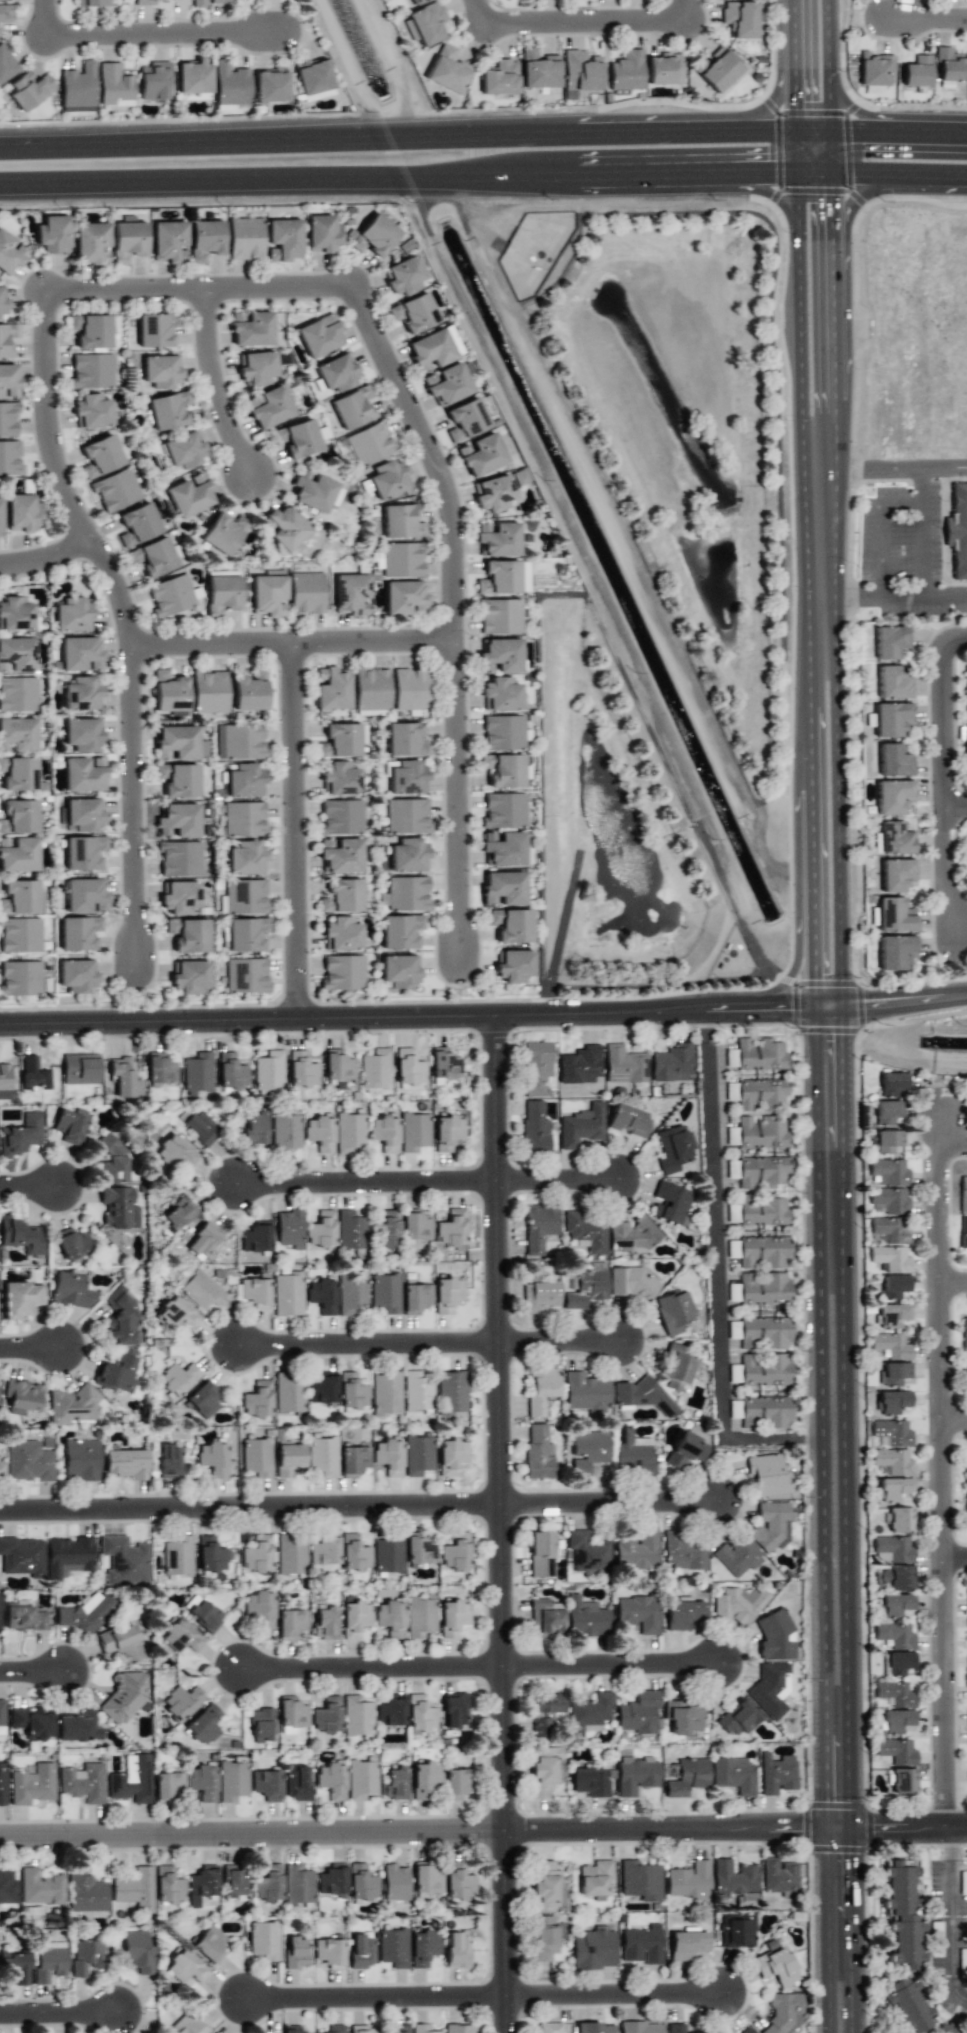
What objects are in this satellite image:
building: (221, 1)
building: (415, 1)
building: (144, 2)
building: (91, 3)
building: (198, 4)
road: (691, 8)
road: (488, 10)
building: (5, 14)
road: (929, 17)
road: (48, 19)
road: (592, 19)
building: (739, 19)
building: (424, 24)
road: (167, 36)
building: (6, 64)
building: (948, 65)
road: (827, 68)
building: (663, 69)
building: (715, 69)
building: (875, 69)
building: (446, 70)
building: (538, 70)
building: (626, 71)
building: (916, 72)
building: (579, 73)
building: (313, 76)
building: (193, 77)
building: (499, 78)
building: (153, 81)
road: (799, 82)
building: (113, 84)
building: (230, 84)
building: (30, 89)
building: (78, 89)
road: (767, 104)
road: (868, 116)
road: (803, 136)
road: (898, 137)
road: (388, 143)
road: (878, 167)
road: (394, 170)
road: (760, 190)
road: (862, 193)
building: (52, 234)
building: (321, 234)
building: (374, 235)
building: (245, 239)
building: (283, 239)
building: (205, 240)
building: (127, 241)
building: (168, 242)
building: (90, 243)
building: (10, 252)
building: (403, 276)
road: (196, 292)
building: (2, 302)
building: (413, 313)
building: (250, 329)
building: (155, 330)
building: (90, 331)
building: (319, 335)
building: (7, 338)
building: (429, 350)
building: (255, 367)
building: (91, 371)
building: (160, 371)
building: (336, 372)
building: (8, 380)
road: (213, 388)
building: (268, 407)
building: (351, 407)
building: (167, 410)
building: (91, 411)
building: (8, 418)
building: (463, 420)
building: (297, 438)
building: (368, 443)
building: (183, 450)
building: (478, 455)
building: (99, 457)
road: (429, 458)
building: (10, 459)
road: (945, 466)
road: (863, 472)
building: (517, 476)
road: (57, 478)
building: (386, 479)
building: (114, 490)
building: (311, 492)
building: (490, 493)
building: (188, 495)
building: (21, 513)
building: (0, 514)
building: (399, 522)
building: (137, 525)
building: (283, 527)
road: (878, 529)
building: (957, 530)
building: (223, 532)
road: (923, 554)
building: (152, 557)
building: (400, 559)
road: (45, 560)
building: (520, 576)
building: (496, 578)
road: (830, 584)
road: (805, 587)
building: (305, 592)
building: (221, 594)
building: (350, 594)
building: (170, 595)
building: (268, 595)
building: (400, 596)
road: (864, 600)
building: (15, 614)
building: (72, 615)
building: (497, 616)
building: (890, 641)
road: (953, 641)
road: (289, 646)
building: (16, 654)
building: (80, 654)
building: (497, 656)
building: (258, 674)
building: (892, 683)
building: (965, 687)
building: (330, 689)
building: (369, 689)
building: (408, 689)
building: (209, 691)
building: (81, 693)
building: (169, 693)
building: (247, 693)
building: (17, 694)
building: (497, 694)
building: (891, 719)
road: (940, 726)
building: (966, 728)
building: (500, 732)
building: (17, 734)
building: (82, 735)
building: (403, 740)
building: (238, 741)
building: (338, 741)
building: (178, 743)
building: (966, 751)
building: (893, 761)
building: (500, 770)
building: (18, 774)
building: (83, 774)
building: (338, 778)
building: (404, 778)
building: (177, 780)
building: (243, 781)
building: (892, 796)
road: (453, 805)
road: (954, 809)
road: (131, 810)
building: (500, 810)
building: (83, 815)
building: (404, 816)
building: (18, 817)
building: (339, 817)
building: (243, 819)
building: (177, 821)
road: (293, 834)
building: (893, 839)
building: (499, 849)
building: (82, 852)
building: (18, 854)
building: (339, 855)
building: (405, 856)
building: (179, 858)
building: (244, 858)
building: (896, 874)
road: (943, 878)
building: (500, 888)
building: (404, 894)
building: (84, 896)
building: (340, 896)
building: (20, 897)
building: (178, 897)
building: (244, 897)
building: (894, 915)
building: (508, 925)
building: (398, 931)
building: (78, 932)
building: (245, 933)
building: (340, 934)
building: (20, 935)
building: (188, 935)
building: (895, 952)
building: (511, 965)
building: (397, 971)
building: (341, 972)
building: (76, 975)
building: (189, 976)
building: (245, 976)
building: (20, 978)
road: (786, 981)
road: (483, 1019)
road: (821, 1019)
building: (758, 1055)
building: (443, 1064)
building: (671, 1064)
building: (337, 1065)
building: (579, 1065)
building: (624, 1065)
building: (407, 1067)
building: (160, 1068)
building: (536, 1068)
building: (80, 1069)
building: (301, 1069)
building: (375, 1069)
building: (230, 1071)
building: (268, 1071)
building: (197, 1073)
building: (33, 1074)
building: (123, 1079)
building: (4, 1082)
building: (892, 1084)
building: (760, 1094)
building: (887, 1112)
building: (628, 1121)
building: (70, 1125)
building: (580, 1126)
building: (200, 1127)
building: (255, 1127)
building: (534, 1128)
building: (349, 1132)
building: (413, 1132)
building: (446, 1132)
building: (285, 1133)
building: (319, 1133)
building: (384, 1133)
building: (757, 1133)
building: (20, 1135)
building: (888, 1142)
building: (673, 1148)
building: (175, 1152)
road: (952, 1155)
building: (112, 1162)
building: (756, 1171)
building: (888, 1172)
road: (427, 1182)
road: (30, 1189)
building: (963, 1194)
building: (889, 1200)
building: (670, 1203)
building: (761, 1211)
building: (178, 1213)
building: (117, 1215)
building: (415, 1227)
building: (538, 1227)
building: (289, 1229)
building: (387, 1229)
building: (891, 1229)
building: (321, 1230)
building: (349, 1230)
building: (451, 1230)
building: (585, 1232)
building: (963, 1233)
building: (631, 1234)
building: (20, 1235)
building: (203, 1239)
building: (255, 1239)
building: (72, 1243)
building: (732, 1249)
building: (762, 1252)
building: (889, 1259)
building: (632, 1283)
road: (715, 1283)
building: (893, 1286)
building: (763, 1288)
building: (586, 1289)
building: (69, 1290)
building: (200, 1290)
road: (953, 1291)
building: (254, 1292)
building: (385, 1293)
building: (288, 1294)
building: (446, 1294)
building: (321, 1295)
building: (352, 1295)
building: (539, 1296)
building: (20, 1298)
building: (415, 1298)
building: (673, 1312)
building: (177, 1313)
building: (892, 1315)
building: (120, 1320)
building: (733, 1330)
building: (964, 1332)
building: (763, 1333)
building: (890, 1346)
road: (428, 1347)
road: (33, 1349)
building: (675, 1368)
building: (764, 1370)
building: (964, 1371)
building: (893, 1373)
building: (177, 1380)
building: (322, 1388)
building: (541, 1389)
building: (351, 1391)
building: (417, 1391)
building: (289, 1393)
building: (385, 1393)
building: (585, 1393)
building: (451, 1394)
building: (642, 1396)
building: (22, 1397)
building: (202, 1400)
building: (256, 1400)
building: (891, 1401)
building: (76, 1405)
building: (760, 1412)
road: (953, 1426)
building: (892, 1432)
building: (587, 1451)
building: (632, 1451)
building: (684, 1451)
building: (538, 1453)
building: (418, 1455)
building: (323, 1456)
building: (388, 1456)
building: (450, 1456)
building: (256, 1457)
building: (212, 1459)
building: (288, 1459)
building: (353, 1459)
building: (81, 1460)
building: (169, 1460)
building: (28, 1461)
building: (892, 1462)
building: (125, 1463)
building: (965, 1469)
building: (1, 1471)
road: (940, 1472)
building: (767, 1475)
building: (894, 1488)
road: (605, 1494)
road: (248, 1504)
building: (964, 1508)
building: (899, 1520)
building: (771, 1525)
road: (497, 1526)
road: (839, 1530)
building: (894, 1548)
building: (419, 1551)
building: (637, 1551)
building: (684, 1551)
building: (324, 1552)
building: (455, 1552)
building: (353, 1553)
building: (588, 1553)
building: (257, 1554)
building: (290, 1554)
building: (387, 1554)
building: (540, 1554)
building: (210, 1555)
building: (22, 1556)
building: (177, 1556)
building: (737, 1556)
building: (68, 1557)
road: (954, 1560)
building: (124, 1561)
building: (896, 1578)
building: (966, 1595)
building: (895, 1604)
building: (734, 1606)
building: (259, 1609)
building: (202, 1613)
building: (638, 1613)
building: (682, 1613)
building: (85, 1614)
building: (545, 1616)
building: (420, 1617)
building: (452, 1617)
building: (24, 1618)
building: (390, 1618)
building: (586, 1618)
building: (354, 1619)
building: (324, 1622)
building: (966, 1622)
building: (290, 1624)
building: (894, 1635)
building: (181, 1636)
building: (774, 1636)
building: (121, 1644)
road: (478, 1659)
building: (898, 1662)
road: (30, 1671)
building: (768, 1689)
building: (895, 1693)
building: (124, 1696)
building: (181, 1702)
building: (390, 1711)
building: (454, 1711)
building: (291, 1712)
building: (545, 1713)
building: (588, 1713)
building: (638, 1713)
building: (420, 1715)
building: (356, 1716)
building: (327, 1717)
building: (682, 1717)
building: (1, 1718)
building: (737, 1718)
building: (896, 1720)
building: (32, 1722)
building: (203, 1725)
building: (261, 1725)
building: (78, 1727)
building: (896, 1751)
building: (544, 1770)
building: (776, 1774)
building: (733, 1775)
building: (636, 1776)
building: (687, 1777)
building: (361, 1779)
building: (132, 1781)
building: (232, 1781)
building: (331, 1781)
building: (424, 1781)
building: (903, 1781)
building: (202, 1782)
building: (296, 1782)
building: (590, 1782)
building: (82, 1783)
building: (393, 1783)
building: (2, 1784)
building: (456, 1784)
building: (32, 1785)
building: (266, 1785)
building: (167, 1787)
road: (483, 1827)
building: (778, 1877)
building: (594, 1878)
building: (733, 1878)
building: (427, 1879)
building: (332, 1880)
building: (640, 1881)
building: (688, 1881)
building: (234, 1882)
building: (458, 1882)
building: (361, 1883)
building: (395, 1883)
building: (202, 1884)
building: (268, 1884)
building: (297, 1884)
building: (167, 1885)
building: (39, 1887)
building: (8, 1888)
building: (546, 1888)
building: (135, 1889)
building: (85, 1892)
building: (745, 1899)
building: (902, 1914)
road: (948, 1916)
road: (958, 1920)
building: (736, 1931)
building: (544, 1937)
building: (264, 1940)
building: (209, 1944)
building: (641, 1945)
building: (686, 1945)
building: (393, 1947)
building: (423, 1948)
building: (457, 1949)
building: (592, 1949)
building: (137, 1951)
building: (360, 1951)
building: (296, 1953)
building: (328, 1954)
building: (85, 1956)
building: (16, 1967)
building: (185, 1967)
building: (776, 1967)
road: (485, 1991)
building: (908, 2005)
road: (57, 2009)
building: (784, 2012)
building: (188, 2025)
building: (640, 2027)
building: (400, 2028)
building: (421, 2028)
building: (458, 2028)
building: (547, 2028)
building: (594, 2028)
building: (675, 2028)
building: (291, 2029)
building: (334, 2029)
building: (361, 2029)
building: (215, 2032)
building: (697, 2032)
building: (744, 2032)

